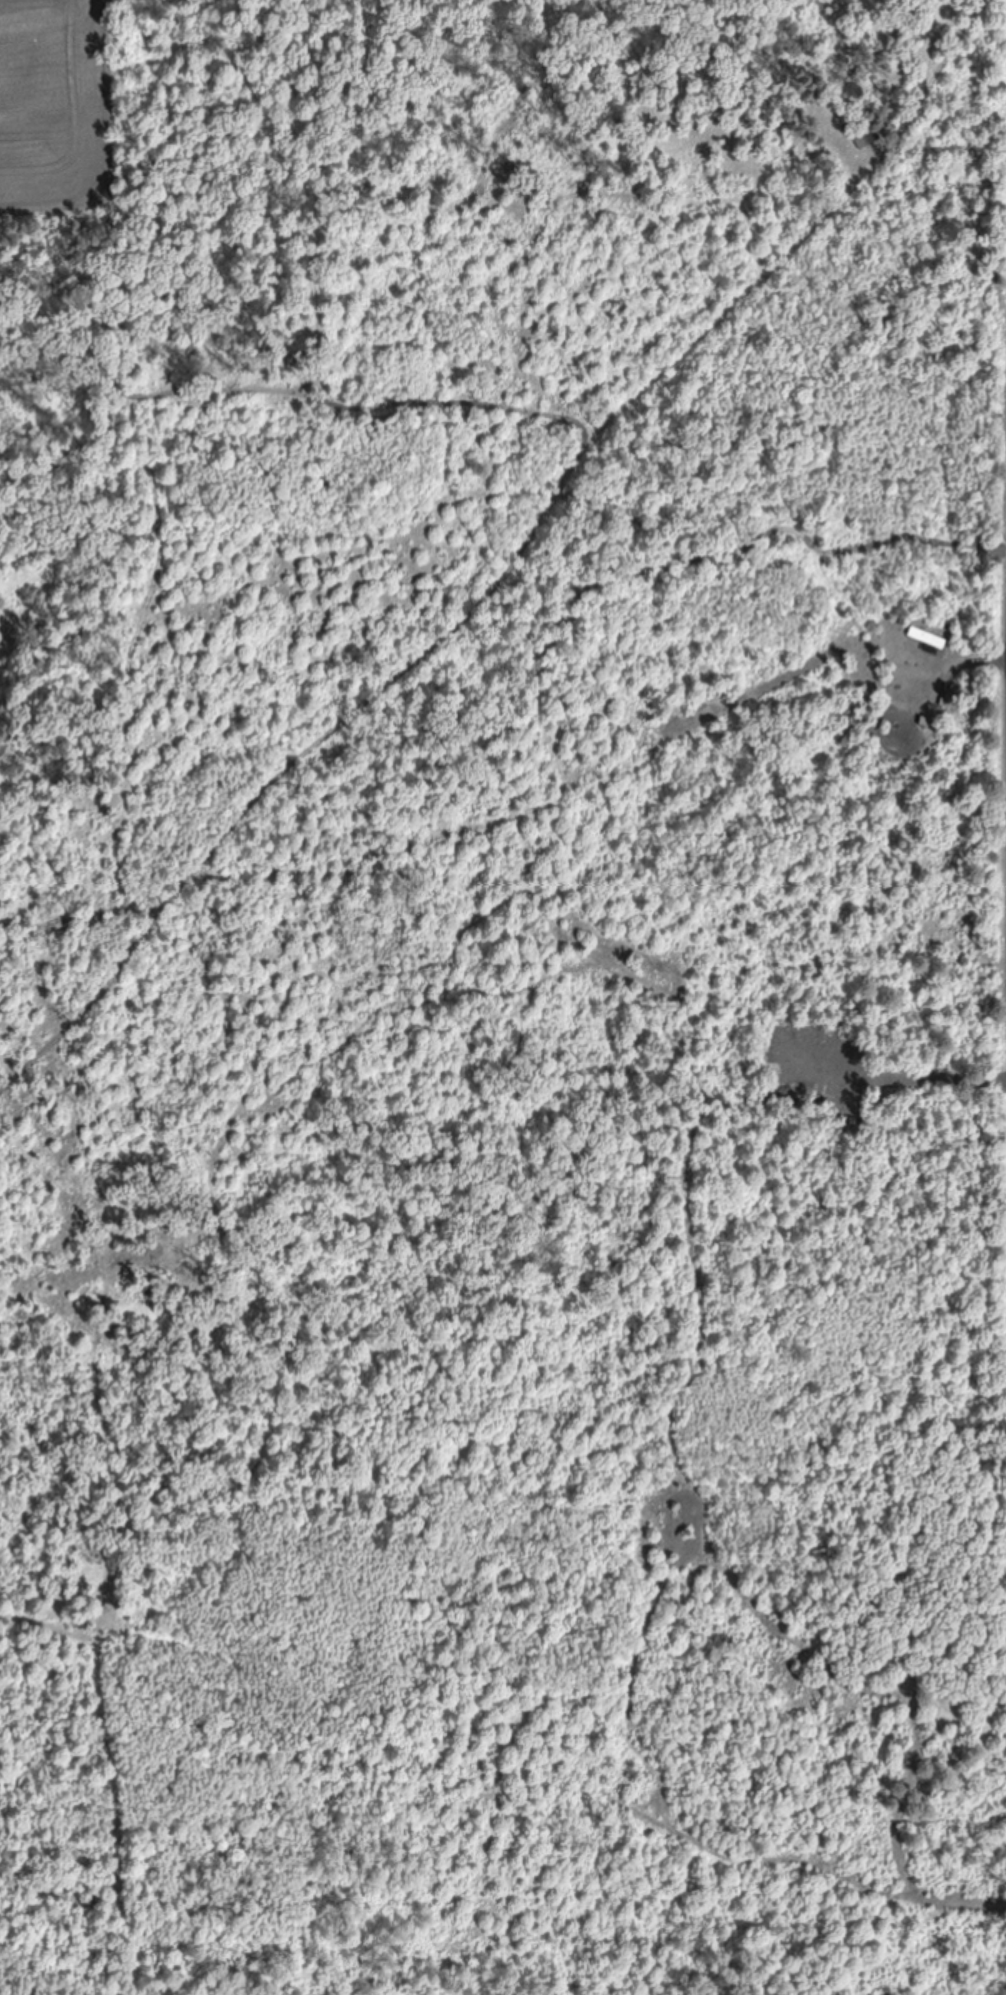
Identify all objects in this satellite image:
road: (437, 409)
building: (928, 638)

